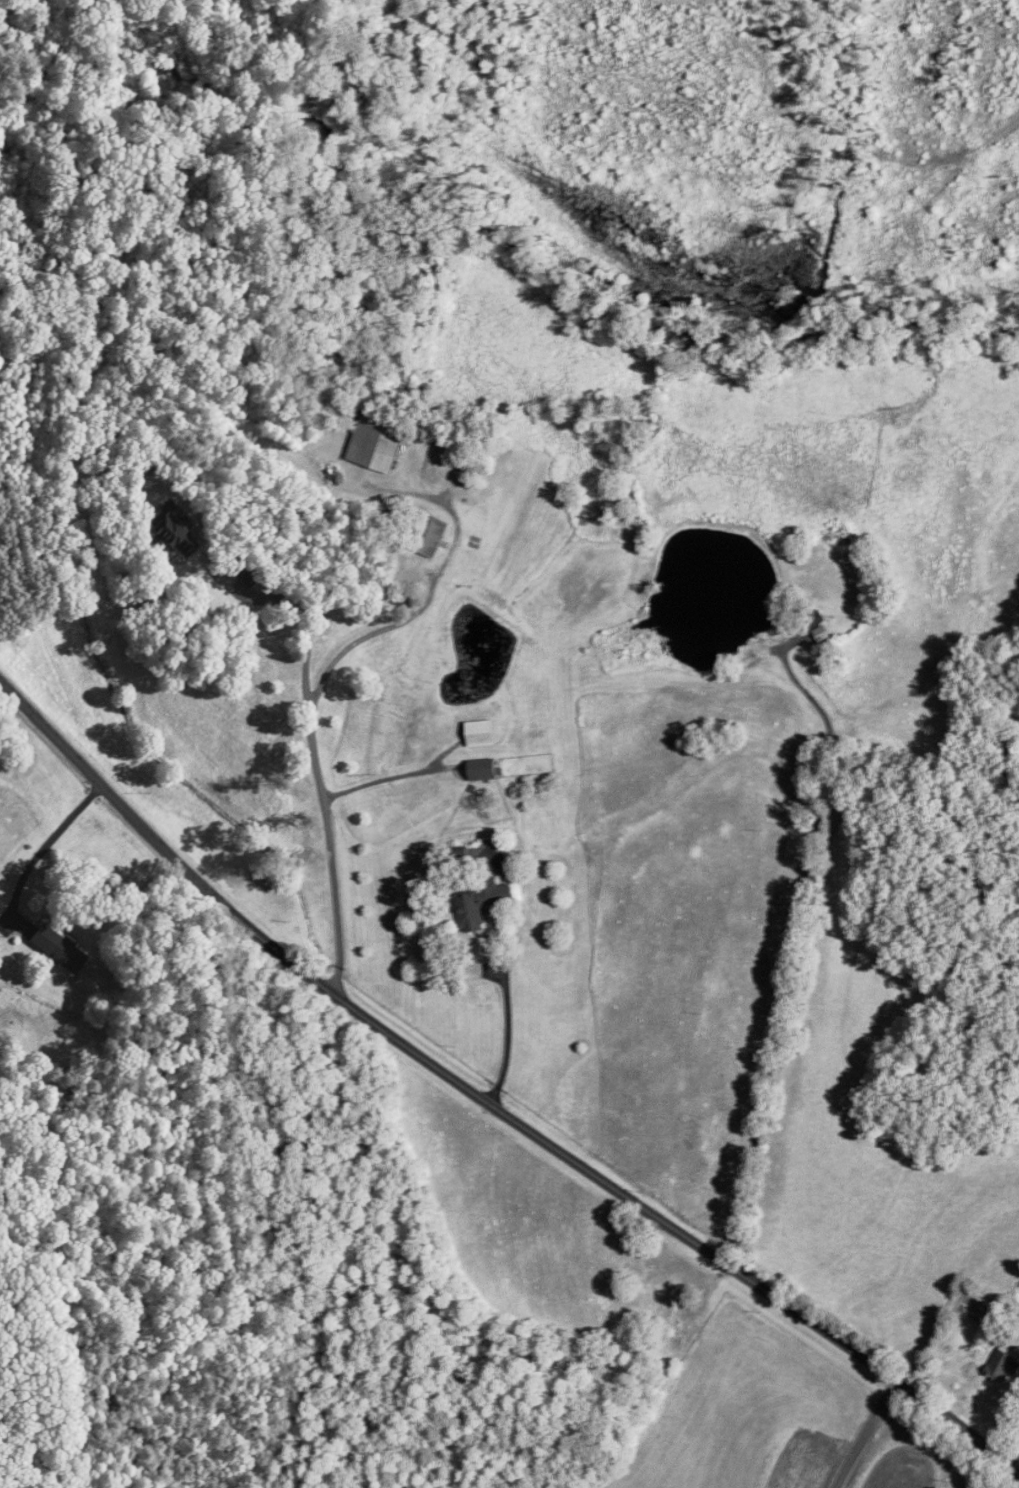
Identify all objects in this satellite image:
building: (379, 440)
building: (173, 531)
building: (429, 537)
building: (246, 574)
road: (295, 611)
building: (812, 617)
road: (314, 703)
building: (481, 734)
building: (483, 770)
road: (383, 780)
road: (46, 843)
building: (481, 902)
road: (795, 947)
building: (58, 948)
road: (505, 1029)
road: (488, 1102)
building: (1004, 1364)
road: (866, 1432)

